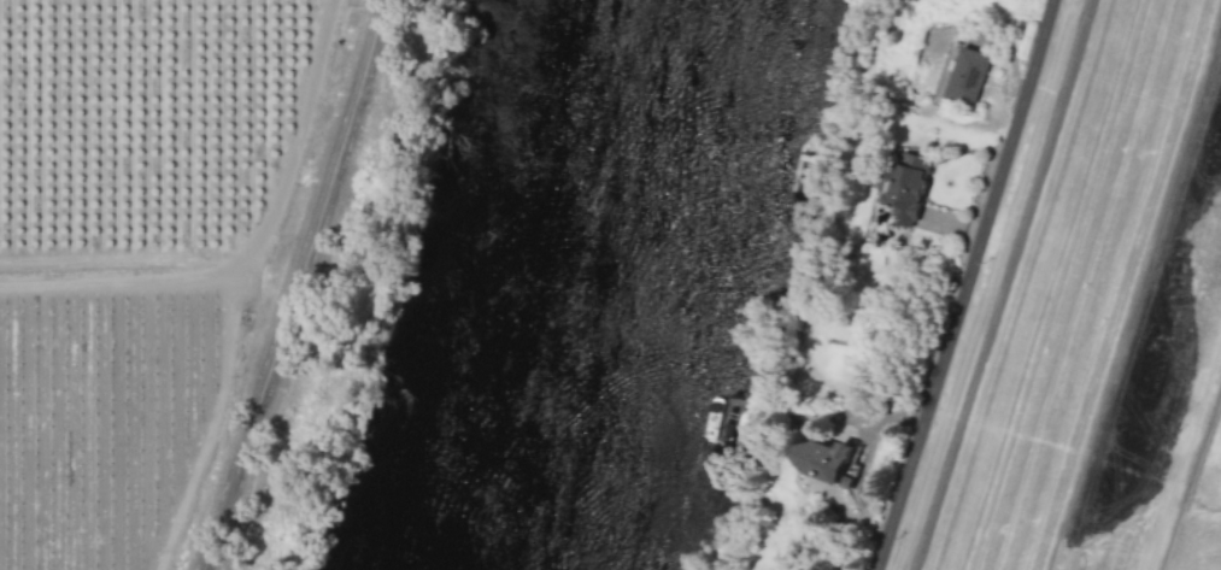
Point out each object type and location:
building: (967, 75)
building: (905, 187)
crop: (145, 254)
road: (971, 284)
river: (594, 287)
road: (305, 289)
building: (824, 459)

